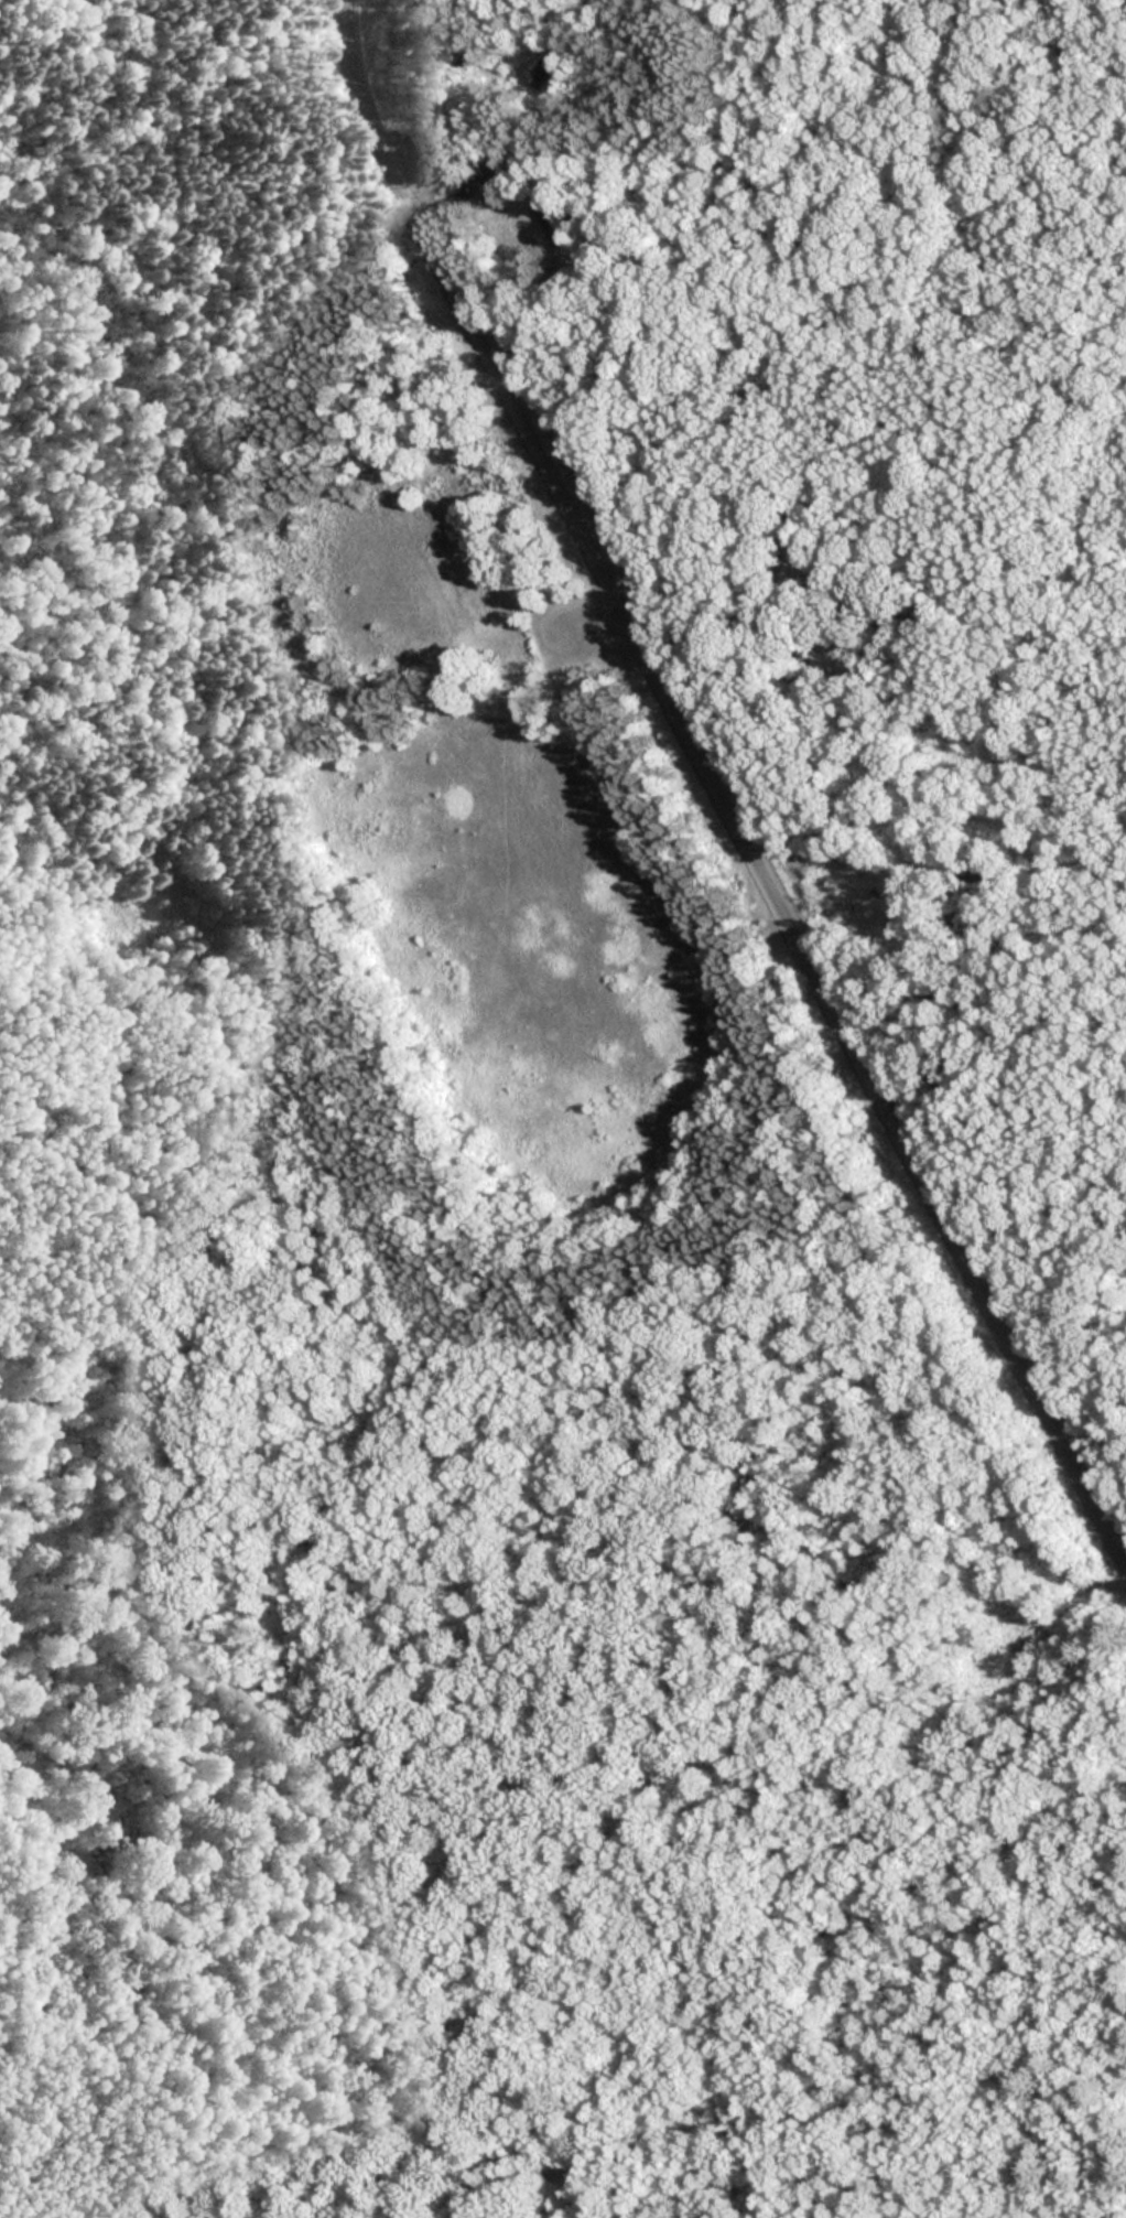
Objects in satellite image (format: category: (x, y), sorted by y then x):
building: (465, 52)
building: (542, 72)
park: (977, 132)
building: (499, 176)
building: (553, 215)
road: (716, 788)
park: (468, 1312)

